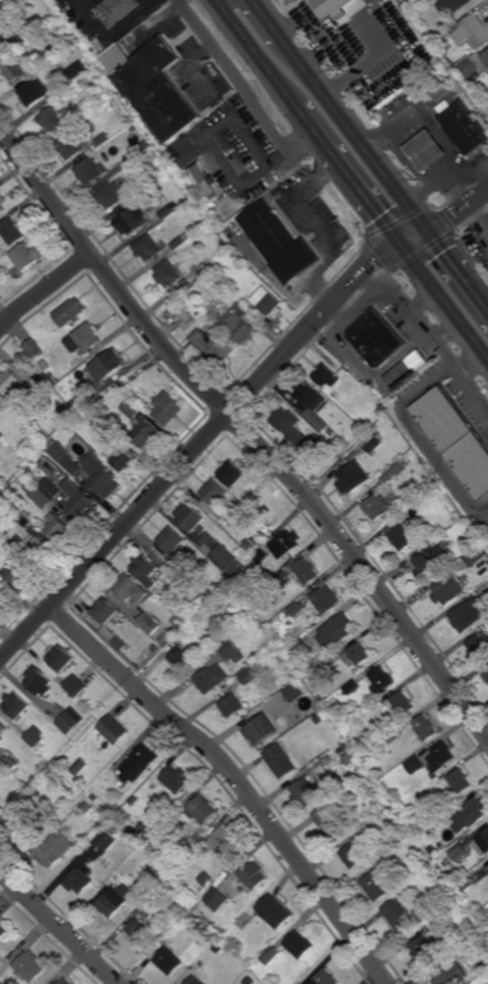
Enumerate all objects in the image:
building: (17, 2)
building: (423, 2)
building: (452, 6)
building: (8, 8)
building: (328, 8)
building: (114, 10)
road: (269, 22)
building: (472, 32)
building: (27, 34)
building: (5, 36)
building: (93, 41)
building: (440, 45)
road: (259, 53)
building: (69, 55)
building: (50, 58)
building: (485, 58)
building: (14, 68)
building: (469, 68)
building: (79, 71)
power tower: (335, 71)
road: (235, 76)
building: (476, 76)
building: (154, 85)
building: (35, 91)
building: (487, 98)
building: (119, 103)
building: (88, 112)
building: (57, 118)
building: (465, 126)
building: (96, 127)
road: (317, 130)
building: (107, 139)
road: (358, 139)
building: (75, 146)
building: (145, 147)
building: (431, 151)
building: (193, 153)
road: (225, 162)
building: (96, 170)
power tower: (415, 179)
building: (207, 181)
building: (152, 184)
building: (115, 194)
road: (370, 199)
building: (3, 202)
building: (172, 210)
building: (136, 220)
building: (15, 230)
building: (273, 233)
traffic signals: (431, 235)
building: (185, 240)
traffic signals: (405, 246)
building: (152, 247)
building: (32, 256)
building: (203, 266)
road: (459, 272)
building: (172, 273)
building: (210, 281)
building: (189, 283)
building: (234, 286)
road: (47, 291)
building: (271, 301)
road: (445, 301)
building: (191, 306)
building: (75, 312)
building: (188, 317)
building: (243, 328)
building: (92, 336)
road: (432, 336)
building: (377, 338)
building: (216, 346)
building: (35, 349)
building: (434, 356)
building: (79, 364)
building: (112, 364)
road: (473, 364)
building: (407, 369)
building: (327, 376)
building: (13, 382)
building: (125, 384)
building: (92, 392)
building: (339, 397)
building: (0, 404)
building: (314, 404)
building: (77, 405)
building: (171, 409)
building: (135, 410)
building: (66, 412)
road: (232, 413)
building: (86, 416)
building: (290, 425)
road: (247, 430)
building: (332, 432)
building: (150, 436)
building: (0, 437)
building: (455, 438)
building: (373, 442)
building: (66, 457)
building: (125, 461)
building: (29, 469)
building: (395, 470)
building: (234, 474)
building: (103, 477)
building: (353, 478)
building: (54, 490)
building: (6, 492)
building: (217, 494)
building: (42, 497)
building: (426, 497)
building: (80, 501)
building: (377, 506)
building: (191, 518)
building: (25, 522)
building: (60, 529)
building: (472, 534)
building: (402, 536)
building: (171, 540)
building: (287, 544)
building: (250, 545)
building: (36, 549)
building: (9, 551)
building: (477, 555)
building: (262, 557)
building: (227, 559)
building: (431, 561)
building: (146, 569)
building: (307, 571)
building: (16, 572)
building: (174, 574)
building: (282, 577)
building: (130, 589)
building: (448, 589)
building: (2, 595)
building: (327, 600)
building: (1, 607)
building: (297, 609)
building: (105, 610)
building: (309, 613)
building: (468, 615)
building: (177, 622)
building: (254, 622)
building: (149, 623)
building: (337, 631)
building: (478, 647)
building: (168, 650)
building: (300, 650)
building: (232, 651)
building: (201, 654)
building: (360, 654)
building: (255, 655)
building: (61, 657)
building: (181, 658)
building: (486, 672)
building: (248, 676)
building: (210, 678)
building: (381, 680)
building: (39, 681)
building: (342, 682)
building: (76, 686)
building: (352, 687)
building: (296, 690)
building: (404, 703)
building: (17, 705)
building: (231, 706)
building: (298, 716)
building: (321, 717)
building: (71, 720)
building: (3, 728)
building: (426, 728)
building: (114, 729)
building: (260, 729)
building: (393, 736)
building: (35, 737)
building: (442, 756)
building: (326, 760)
building: (279, 761)
building: (140, 762)
building: (10, 763)
building: (416, 765)
building: (80, 766)
building: (402, 770)
building: (35, 779)
building: (175, 779)
road: (237, 779)
building: (461, 782)
building: (304, 793)
building: (398, 794)
building: (95, 797)
building: (445, 800)
building: (85, 804)
building: (26, 806)
building: (201, 809)
building: (433, 809)
building: (175, 813)
building: (471, 815)
building: (166, 821)
building: (330, 822)
building: (23, 828)
building: (113, 829)
building: (107, 840)
building: (224, 841)
building: (483, 844)
building: (53, 848)
building: (434, 851)
building: (459, 852)
building: (353, 855)
building: (389, 863)
building: (249, 876)
building: (80, 879)
building: (206, 879)
building: (465, 884)
building: (375, 886)
building: (147, 888)
building: (156, 898)
building: (216, 899)
building: (115, 900)
building: (462, 905)
building: (273, 911)
building: (396, 914)
building: (224, 922)
building: (2, 928)
road: (58, 928)
building: (205, 930)
building: (138, 931)
building: (298, 945)
building: (217, 948)
building: (422, 949)
building: (270, 955)
building: (487, 957)
building: (169, 961)
building: (30, 966)
building: (450, 974)
building: (324, 978)
building: (194, 980)
building: (249, 981)
building: (65, 982)
building: (0, 983)

